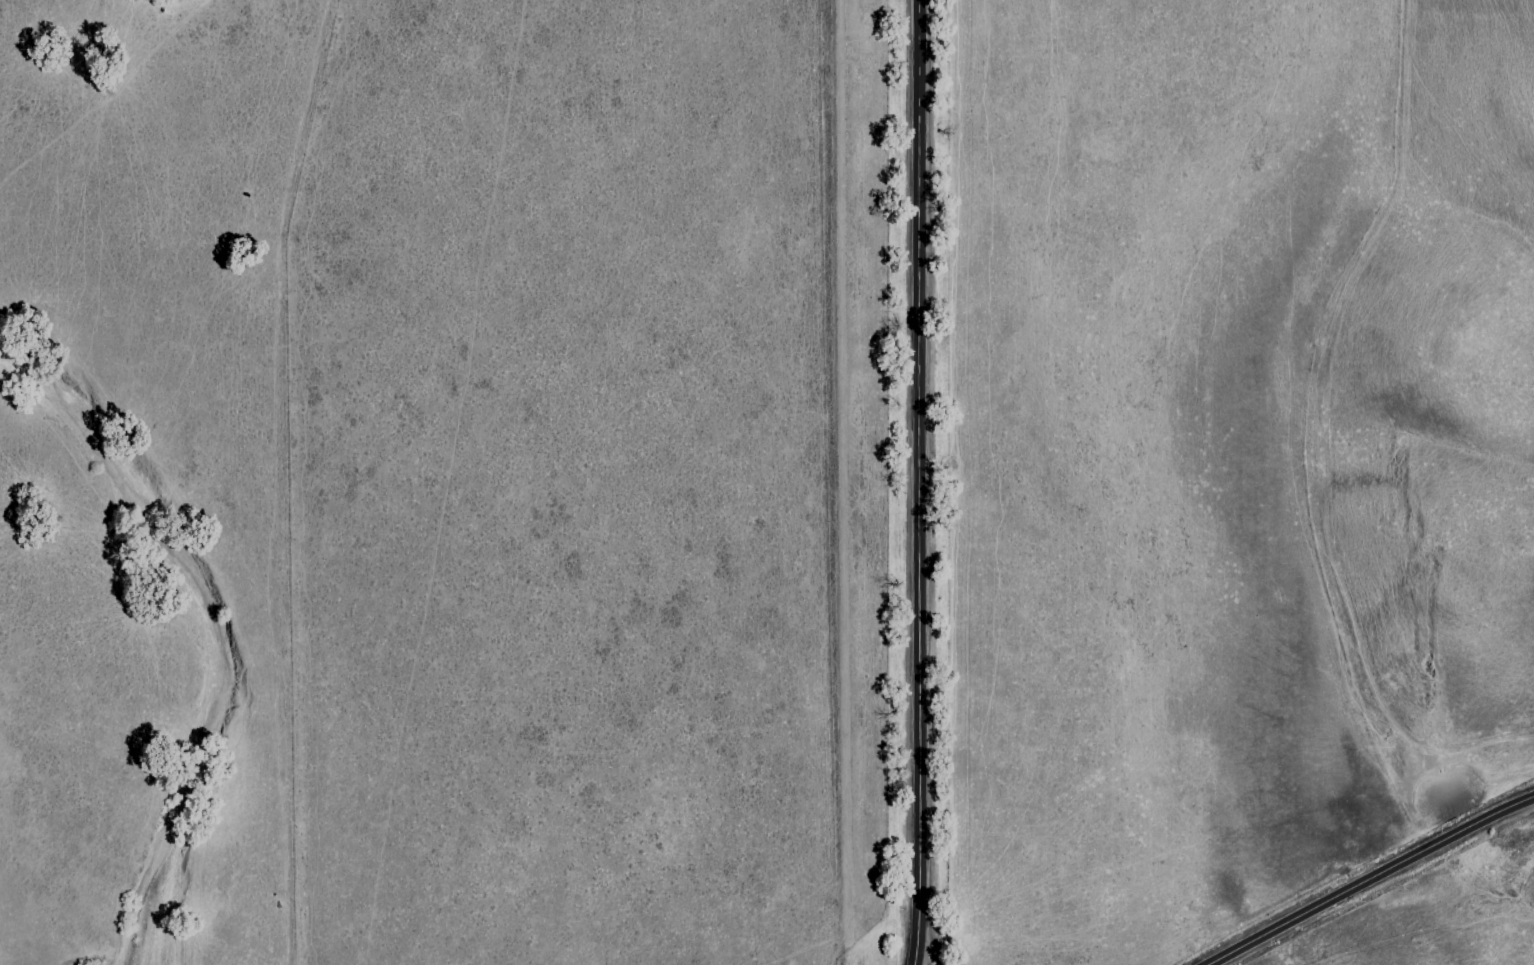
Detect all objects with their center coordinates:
road: (920, 482)
road: (1322, 482)
park: (1465, 561)
road: (1373, 882)
road: (927, 950)

